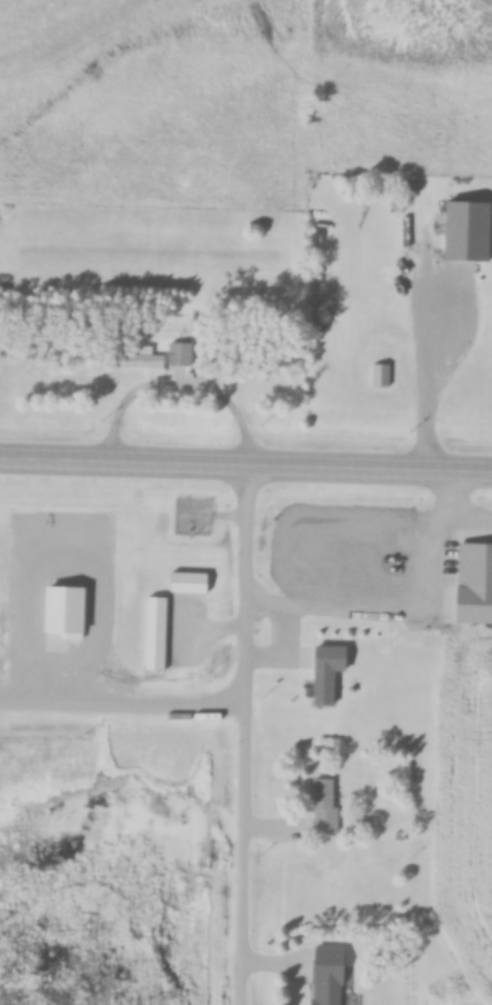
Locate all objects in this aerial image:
building: (470, 232)
building: (180, 354)
building: (150, 357)
building: (381, 375)
road: (246, 469)
building: (190, 583)
building: (474, 583)
building: (156, 611)
building: (67, 612)
building: (330, 673)
road: (119, 705)
road: (237, 736)
airport: (244, 747)
building: (325, 806)
building: (327, 985)

